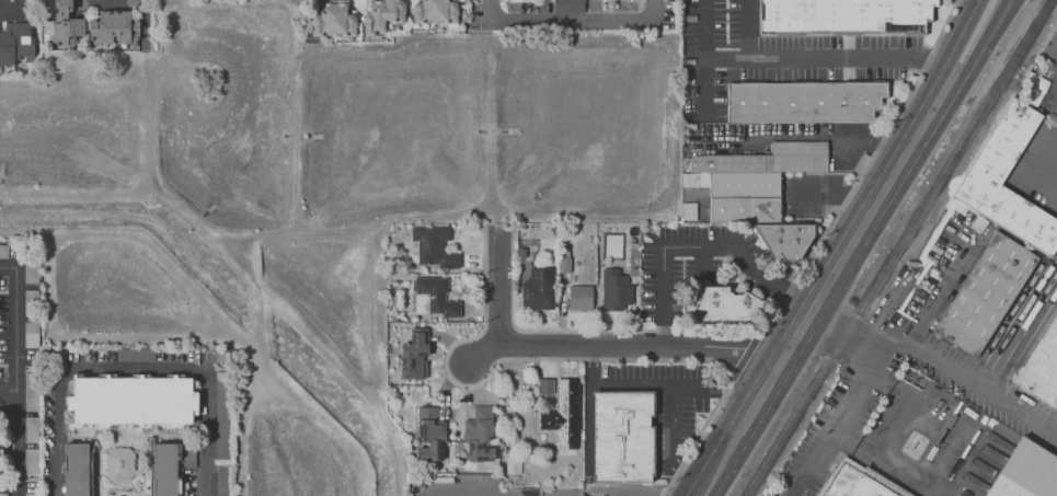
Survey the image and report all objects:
building: (566, 5)
building: (433, 11)
building: (380, 14)
building: (845, 15)
building: (334, 16)
road: (567, 20)
building: (62, 23)
building: (113, 27)
road: (703, 31)
building: (15, 44)
road: (955, 45)
building: (1050, 45)
road: (981, 50)
road: (803, 57)
building: (803, 100)
building: (998, 149)
road: (870, 154)
building: (760, 188)
road: (839, 197)
building: (432, 246)
railway: (883, 246)
railway: (893, 247)
railway: (900, 247)
building: (3, 251)
road: (701, 263)
building: (563, 264)
road: (504, 286)
building: (538, 288)
building: (613, 290)
road: (823, 293)
building: (984, 293)
building: (434, 297)
building: (579, 297)
building: (719, 299)
road: (633, 330)
road: (645, 350)
building: (134, 354)
road: (745, 354)
building: (413, 355)
road: (487, 356)
road: (939, 364)
building: (1041, 366)
road: (135, 367)
road: (15, 373)
road: (671, 387)
road: (8, 390)
building: (130, 400)
building: (221, 414)
building: (560, 427)
building: (31, 429)
road: (53, 431)
road: (209, 434)
building: (623, 434)
building: (479, 435)
building: (428, 436)
road: (696, 438)
building: (31, 462)
building: (119, 463)
building: (76, 469)
building: (163, 469)
building: (1024, 472)
building: (219, 480)
building: (863, 482)
road: (472, 493)

